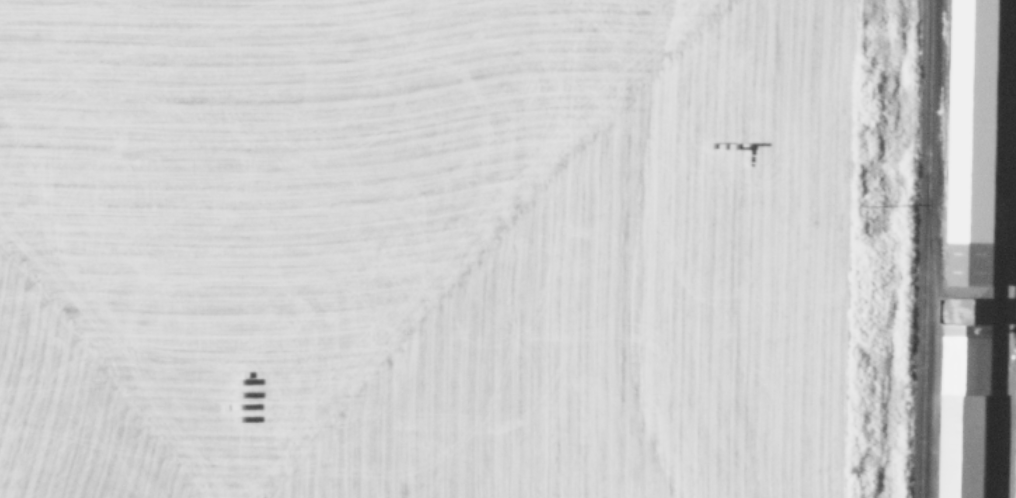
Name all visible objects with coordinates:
crop: (445, 248)
railway: (925, 248)
crop: (984, 257)
railway: (929, 340)
building: (967, 369)

